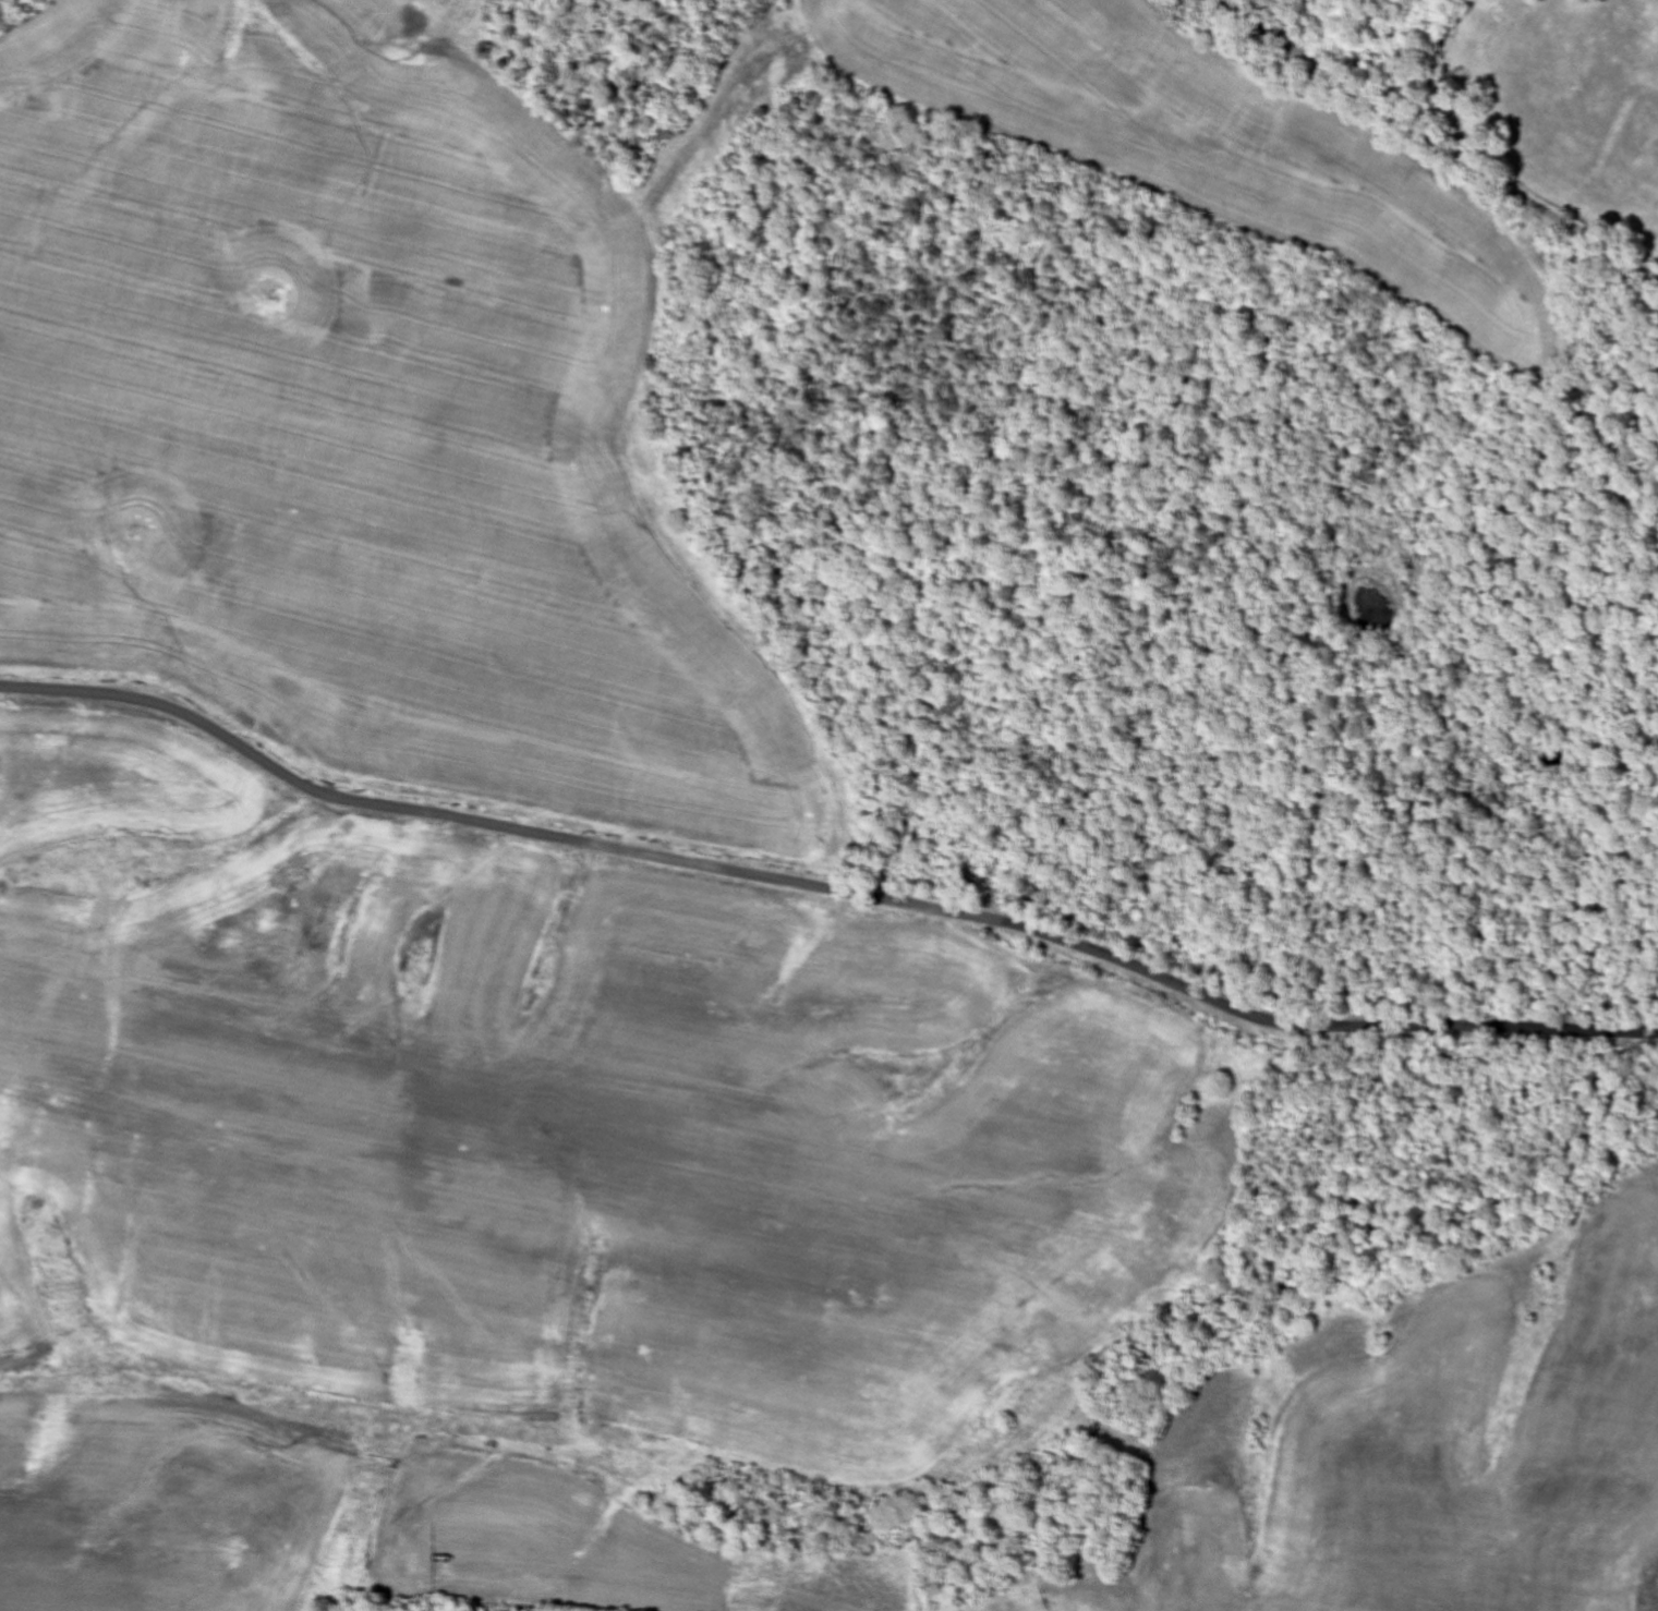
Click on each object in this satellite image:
road: (1435, 142)
road: (822, 893)

